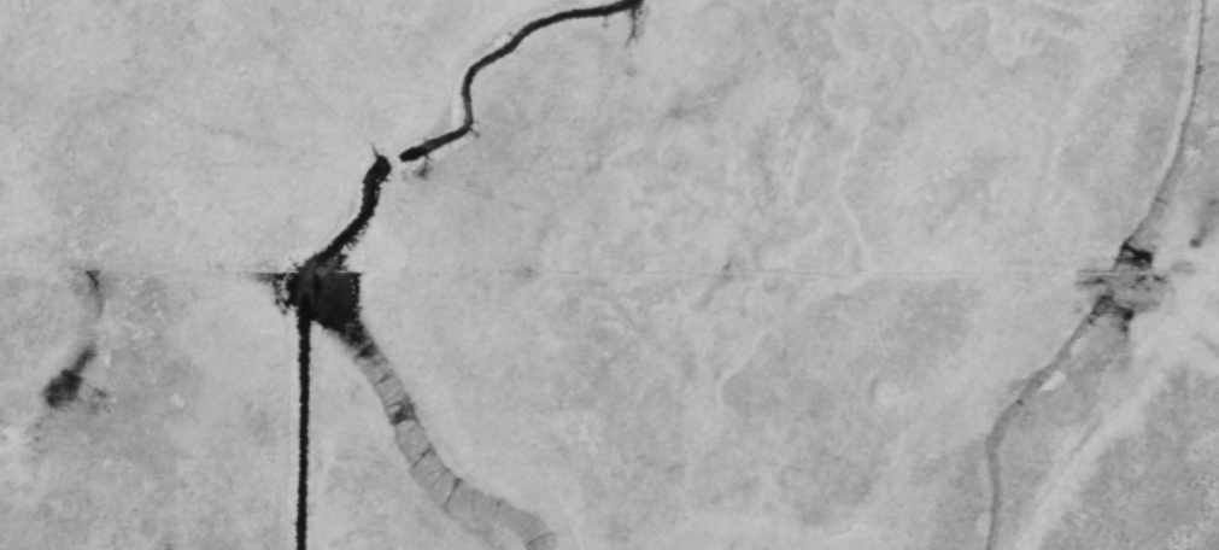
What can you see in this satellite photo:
crop: (207, 276)

